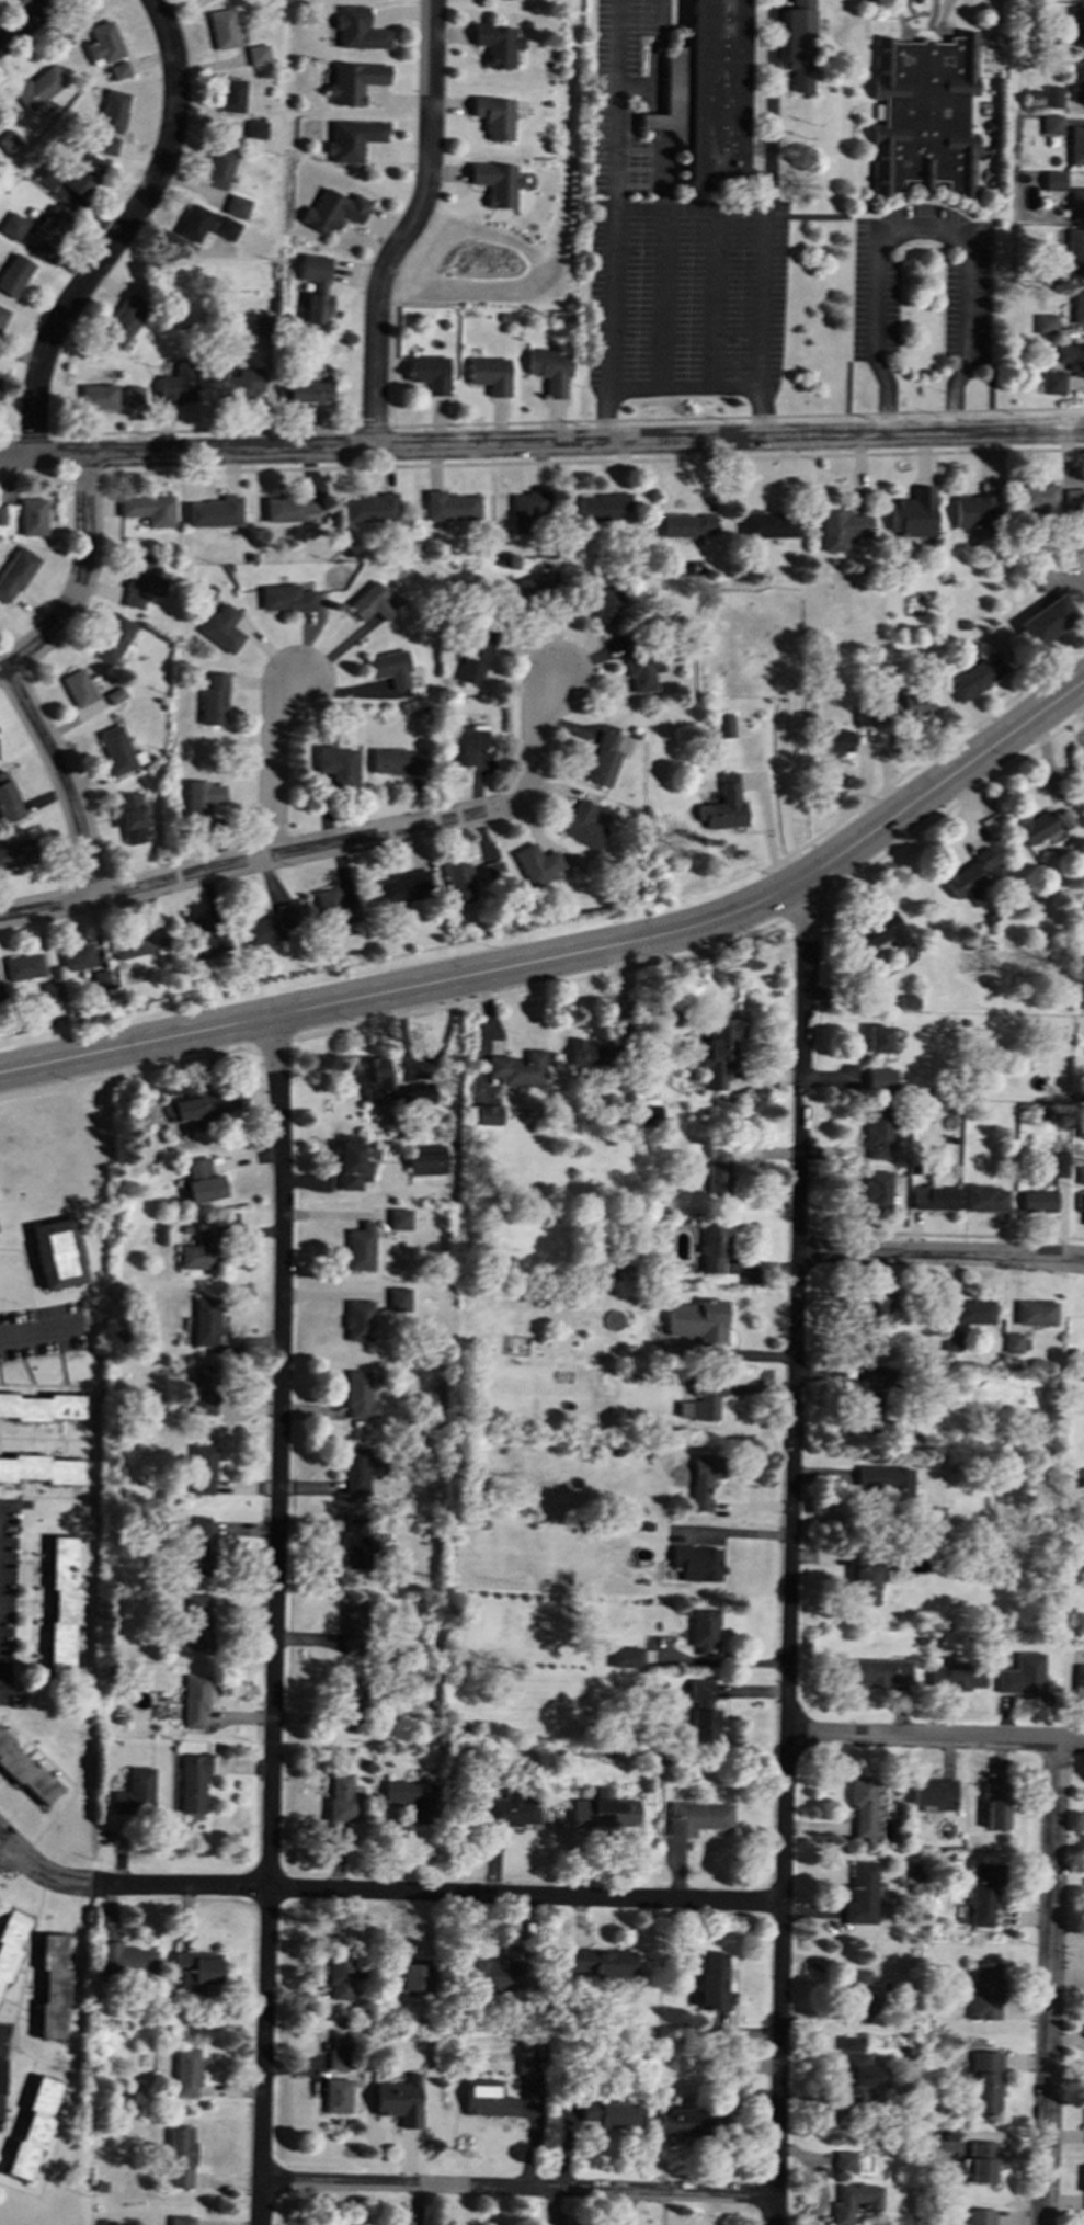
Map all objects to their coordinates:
road: (25, 21)
building: (1076, 25)
building: (221, 29)
building: (356, 29)
building: (986, 33)
building: (102, 42)
road: (660, 43)
building: (497, 44)
building: (798, 44)
building: (256, 54)
building: (118, 69)
building: (1077, 80)
building: (352, 81)
building: (37, 87)
road: (638, 87)
building: (231, 94)
building: (708, 94)
building: (1053, 97)
building: (112, 111)
building: (923, 115)
building: (492, 116)
building: (1051, 124)
building: (254, 128)
building: (351, 138)
building: (9, 141)
building: (105, 145)
building: (1076, 145)
road: (659, 148)
building: (217, 168)
building: (83, 175)
building: (45, 178)
building: (1053, 179)
building: (494, 182)
road: (612, 193)
road: (766, 195)
building: (1076, 204)
building: (236, 206)
building: (331, 209)
road: (688, 209)
building: (192, 222)
building: (12, 225)
building: (50, 225)
road: (409, 226)
road: (920, 226)
building: (225, 227)
road: (121, 231)
parking lot: (669, 242)
building: (1074, 251)
building: (13, 274)
building: (315, 286)
road: (666, 299)
road: (719, 300)
building: (1077, 304)
parking lot: (966, 307)
building: (2, 315)
building: (123, 319)
building: (1045, 323)
building: (259, 325)
building: (1071, 356)
building: (548, 370)
building: (427, 372)
building: (489, 374)
building: (239, 381)
building: (179, 382)
building: (1052, 382)
building: (305, 390)
road: (678, 390)
building: (0, 393)
building: (98, 396)
building: (133, 396)
road: (541, 444)
building: (1037, 497)
building: (1073, 498)
building: (449, 506)
building: (601, 506)
building: (288, 507)
building: (368, 508)
building: (149, 509)
building: (526, 510)
building: (215, 511)
building: (973, 511)
building: (911, 512)
building: (2, 515)
building: (32, 516)
building: (686, 524)
building: (767, 524)
building: (841, 529)
building: (15, 572)
road: (80, 579)
building: (141, 580)
building: (527, 588)
building: (286, 598)
building: (604, 599)
building: (372, 602)
building: (1046, 620)
building: (222, 627)
building: (114, 639)
building: (475, 657)
building: (390, 668)
building: (642, 670)
building: (973, 677)
building: (78, 686)
road: (1079, 697)
building: (213, 700)
building: (914, 705)
building: (885, 706)
building: (863, 716)
building: (722, 725)
building: (837, 740)
building: (463, 742)
building: (119, 750)
building: (603, 759)
building: (395, 761)
building: (335, 764)
road: (273, 767)
road: (62, 776)
building: (202, 798)
building: (8, 799)
building: (723, 806)
building: (130, 817)
building: (582, 825)
building: (1042, 825)
road: (323, 844)
building: (18, 852)
building: (536, 864)
building: (491, 871)
building: (969, 876)
building: (458, 882)
building: (401, 886)
building: (334, 909)
building: (270, 924)
building: (881, 930)
building: (205, 938)
building: (138, 941)
road: (573, 954)
building: (77, 956)
building: (23, 966)
building: (100, 979)
building: (49, 990)
building: (1081, 1001)
building: (906, 1002)
building: (877, 1037)
building: (718, 1052)
building: (586, 1053)
building: (517, 1068)
building: (375, 1076)
building: (880, 1078)
building: (415, 1094)
building: (201, 1105)
building: (650, 1113)
building: (483, 1114)
building: (878, 1133)
building: (425, 1159)
building: (352, 1162)
building: (1060, 1165)
building: (717, 1168)
building: (1081, 1176)
building: (199, 1181)
building: (876, 1191)
building: (934, 1197)
building: (985, 1197)
building: (1038, 1200)
building: (399, 1218)
building: (361, 1246)
building: (712, 1247)
building: (198, 1248)
building: (56, 1253)
road: (940, 1255)
building: (613, 1270)
building: (398, 1298)
building: (973, 1310)
building: (1036, 1312)
building: (205, 1320)
building: (358, 1320)
building: (697, 1320)
road: (41, 1330)
building: (951, 1340)
building: (1015, 1342)
building: (1081, 1372)
building: (882, 1376)
building: (202, 1389)
building: (358, 1395)
building: (704, 1398)
building: (41, 1406)
building: (876, 1416)
building: (39, 1468)
building: (202, 1468)
building: (360, 1468)
building: (1079, 1476)
building: (885, 1478)
building: (701, 1479)
building: (356, 1543)
building: (198, 1545)
road: (791, 1549)
building: (696, 1563)
building: (1083, 1563)
building: (864, 1585)
building: (61, 1605)
building: (195, 1621)
road: (275, 1621)
building: (352, 1627)
building: (701, 1628)
building: (625, 1656)
building: (878, 1671)
building: (1022, 1675)
building: (956, 1676)
building: (1079, 1678)
building: (194, 1700)
building: (350, 1702)
building: (703, 1710)
road: (935, 1736)
building: (25, 1772)
building: (191, 1782)
building: (135, 1792)
building: (934, 1792)
building: (339, 1796)
building: (412, 1797)
building: (862, 1805)
building: (995, 1805)
building: (510, 1809)
building: (602, 1810)
building: (697, 1817)
building: (338, 1828)
road: (4, 1853)
building: (983, 1892)
road: (385, 1893)
building: (860, 1893)
building: (126, 1960)
building: (601, 1962)
building: (195, 1969)
building: (501, 1971)
building: (339, 1975)
building: (407, 1977)
building: (712, 1980)
road: (1050, 1983)
building: (50, 1986)
building: (985, 1990)
building: (858, 1996)
building: (336, 2054)
building: (524, 2064)
building: (185, 2071)
building: (853, 2073)
building: (2, 2075)
building: (984, 2080)
building: (336, 2095)
building: (487, 2098)
building: (399, 2100)
building: (607, 2114)
building: (687, 2121)
building: (32, 2128)
building: (180, 2156)
building: (982, 2160)
building: (843, 2161)
road: (516, 2189)
building: (854, 2200)
building: (980, 2216)
building: (180, 2220)
park: (5, 2222)

